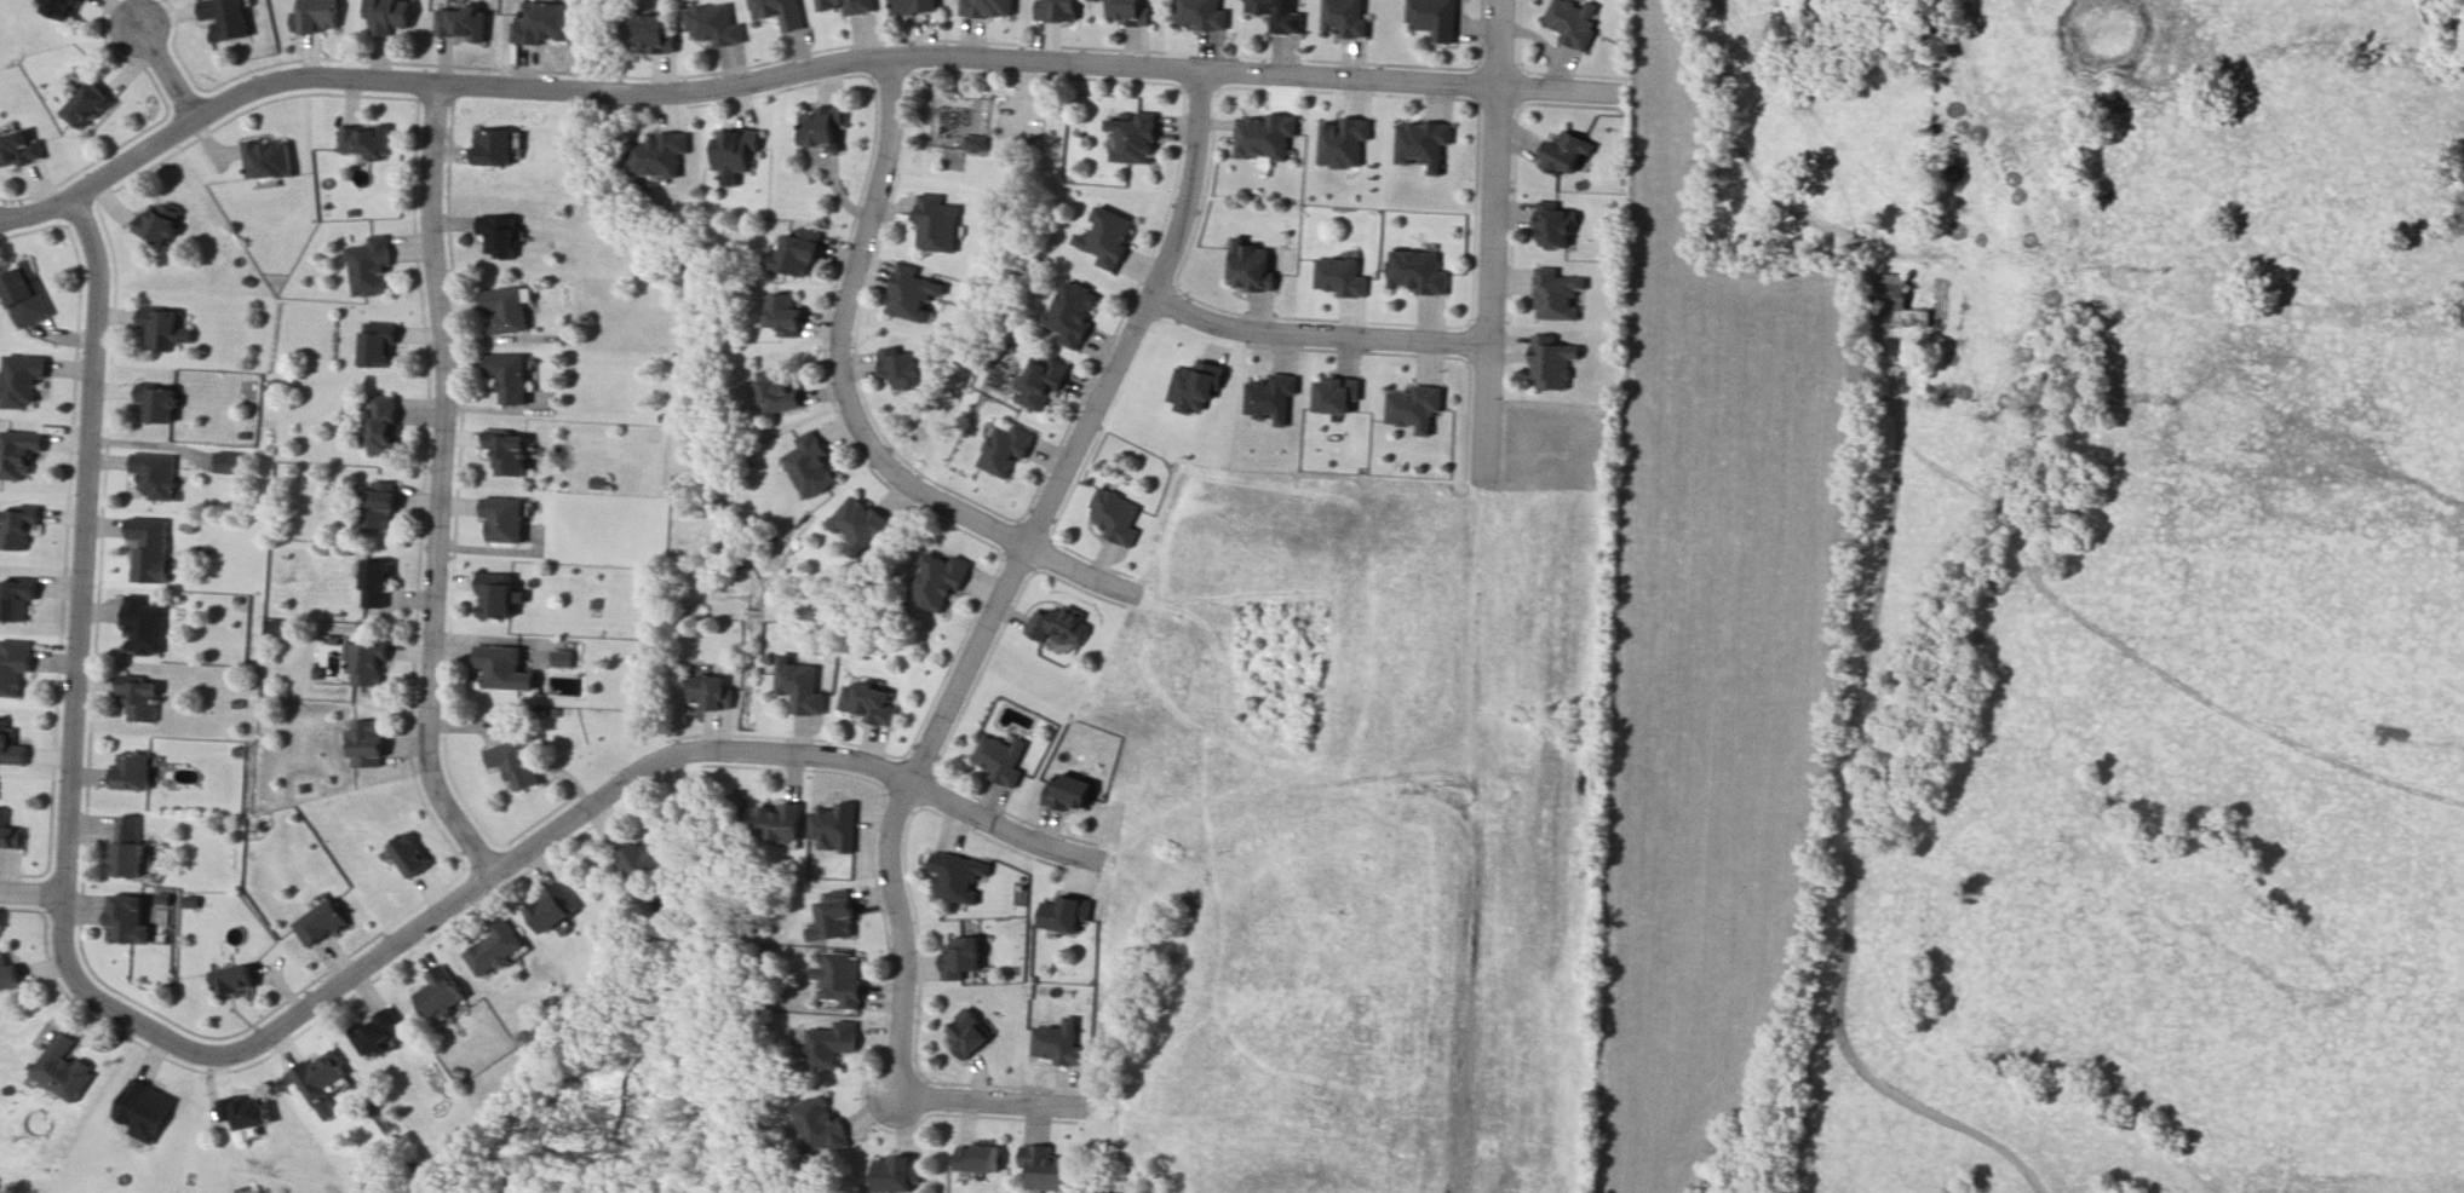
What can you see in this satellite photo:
building: (838, 5)
building: (59, 7)
building: (913, 7)
building: (983, 7)
building: (772, 10)
building: (1057, 10)
building: (1131, 11)
building: (389, 12)
building: (1201, 12)
building: (1268, 13)
building: (317, 15)
building: (225, 17)
building: (1342, 18)
building: (1432, 21)
building: (1572, 22)
building: (454, 23)
building: (546, 25)
building: (707, 27)
building: (649, 34)
road: (791, 68)
road: (177, 70)
building: (87, 106)
building: (822, 128)
road: (1731, 137)
building: (1262, 138)
building: (1132, 139)
building: (363, 140)
building: (1340, 143)
building: (977, 144)
building: (18, 145)
building: (1420, 145)
building: (494, 148)
building: (1566, 151)
building: (734, 152)
building: (656, 155)
building: (268, 161)
building: (1560, 221)
building: (937, 225)
building: (161, 226)
building: (1107, 235)
building: (499, 237)
road: (1487, 243)
building: (797, 255)
building: (1251, 263)
building: (368, 269)
building: (1414, 271)
building: (1337, 277)
building: (248, 282)
building: (914, 293)
building: (1562, 294)
building: (27, 296)
building: (1905, 298)
building: (506, 310)
building: (783, 311)
building: (1073, 313)
building: (572, 327)
road: (1311, 329)
building: (161, 332)
building: (374, 352)
building: (1556, 362)
building: (902, 369)
building: (512, 379)
building: (22, 382)
building: (1039, 387)
building: (779, 390)
building: (1337, 398)
road: (843, 399)
building: (1412, 405)
building: (160, 407)
building: (380, 423)
building: (1004, 454)
building: (17, 456)
building: (512, 456)
building: (228, 466)
building: (810, 471)
building: (157, 479)
building: (597, 483)
road: (450, 494)
building: (375, 509)
building: (1115, 517)
building: (502, 520)
building: (277, 528)
building: (861, 528)
building: (15, 530)
road: (84, 544)
building: (150, 551)
road: (1007, 576)
building: (375, 584)
building: (941, 587)
building: (13, 599)
building: (496, 601)
road: (1299, 605)
building: (143, 622)
building: (276, 626)
building: (1057, 628)
crop: (1710, 639)
building: (564, 661)
building: (366, 665)
building: (501, 667)
building: (13, 673)
building: (802, 685)
building: (713, 692)
building: (143, 702)
building: (868, 702)
building: (239, 703)
building: (10, 742)
building: (366, 743)
building: (240, 751)
building: (1004, 757)
building: (511, 766)
building: (133, 772)
building: (1068, 795)
building: (781, 820)
building: (833, 826)
building: (6, 828)
road: (996, 832)
road: (1460, 840)
building: (126, 847)
building: (412, 855)
building: (647, 859)
road: (1277, 877)
building: (955, 880)
road: (30, 897)
building: (553, 912)
building: (1066, 912)
building: (837, 920)
building: (128, 921)
building: (320, 923)
road: (447, 923)
building: (496, 952)
building: (961, 958)
building: (7, 969)
building: (840, 980)
building: (234, 984)
building: (440, 996)
building: (965, 1032)
building: (377, 1033)
building: (1058, 1039)
building: (831, 1045)
building: (63, 1071)
building: (321, 1078)
road: (987, 1103)
building: (144, 1106)
building: (243, 1116)
road: (1329, 1119)
building: (815, 1124)
building: (978, 1157)
building: (1049, 1170)
building: (896, 1171)

